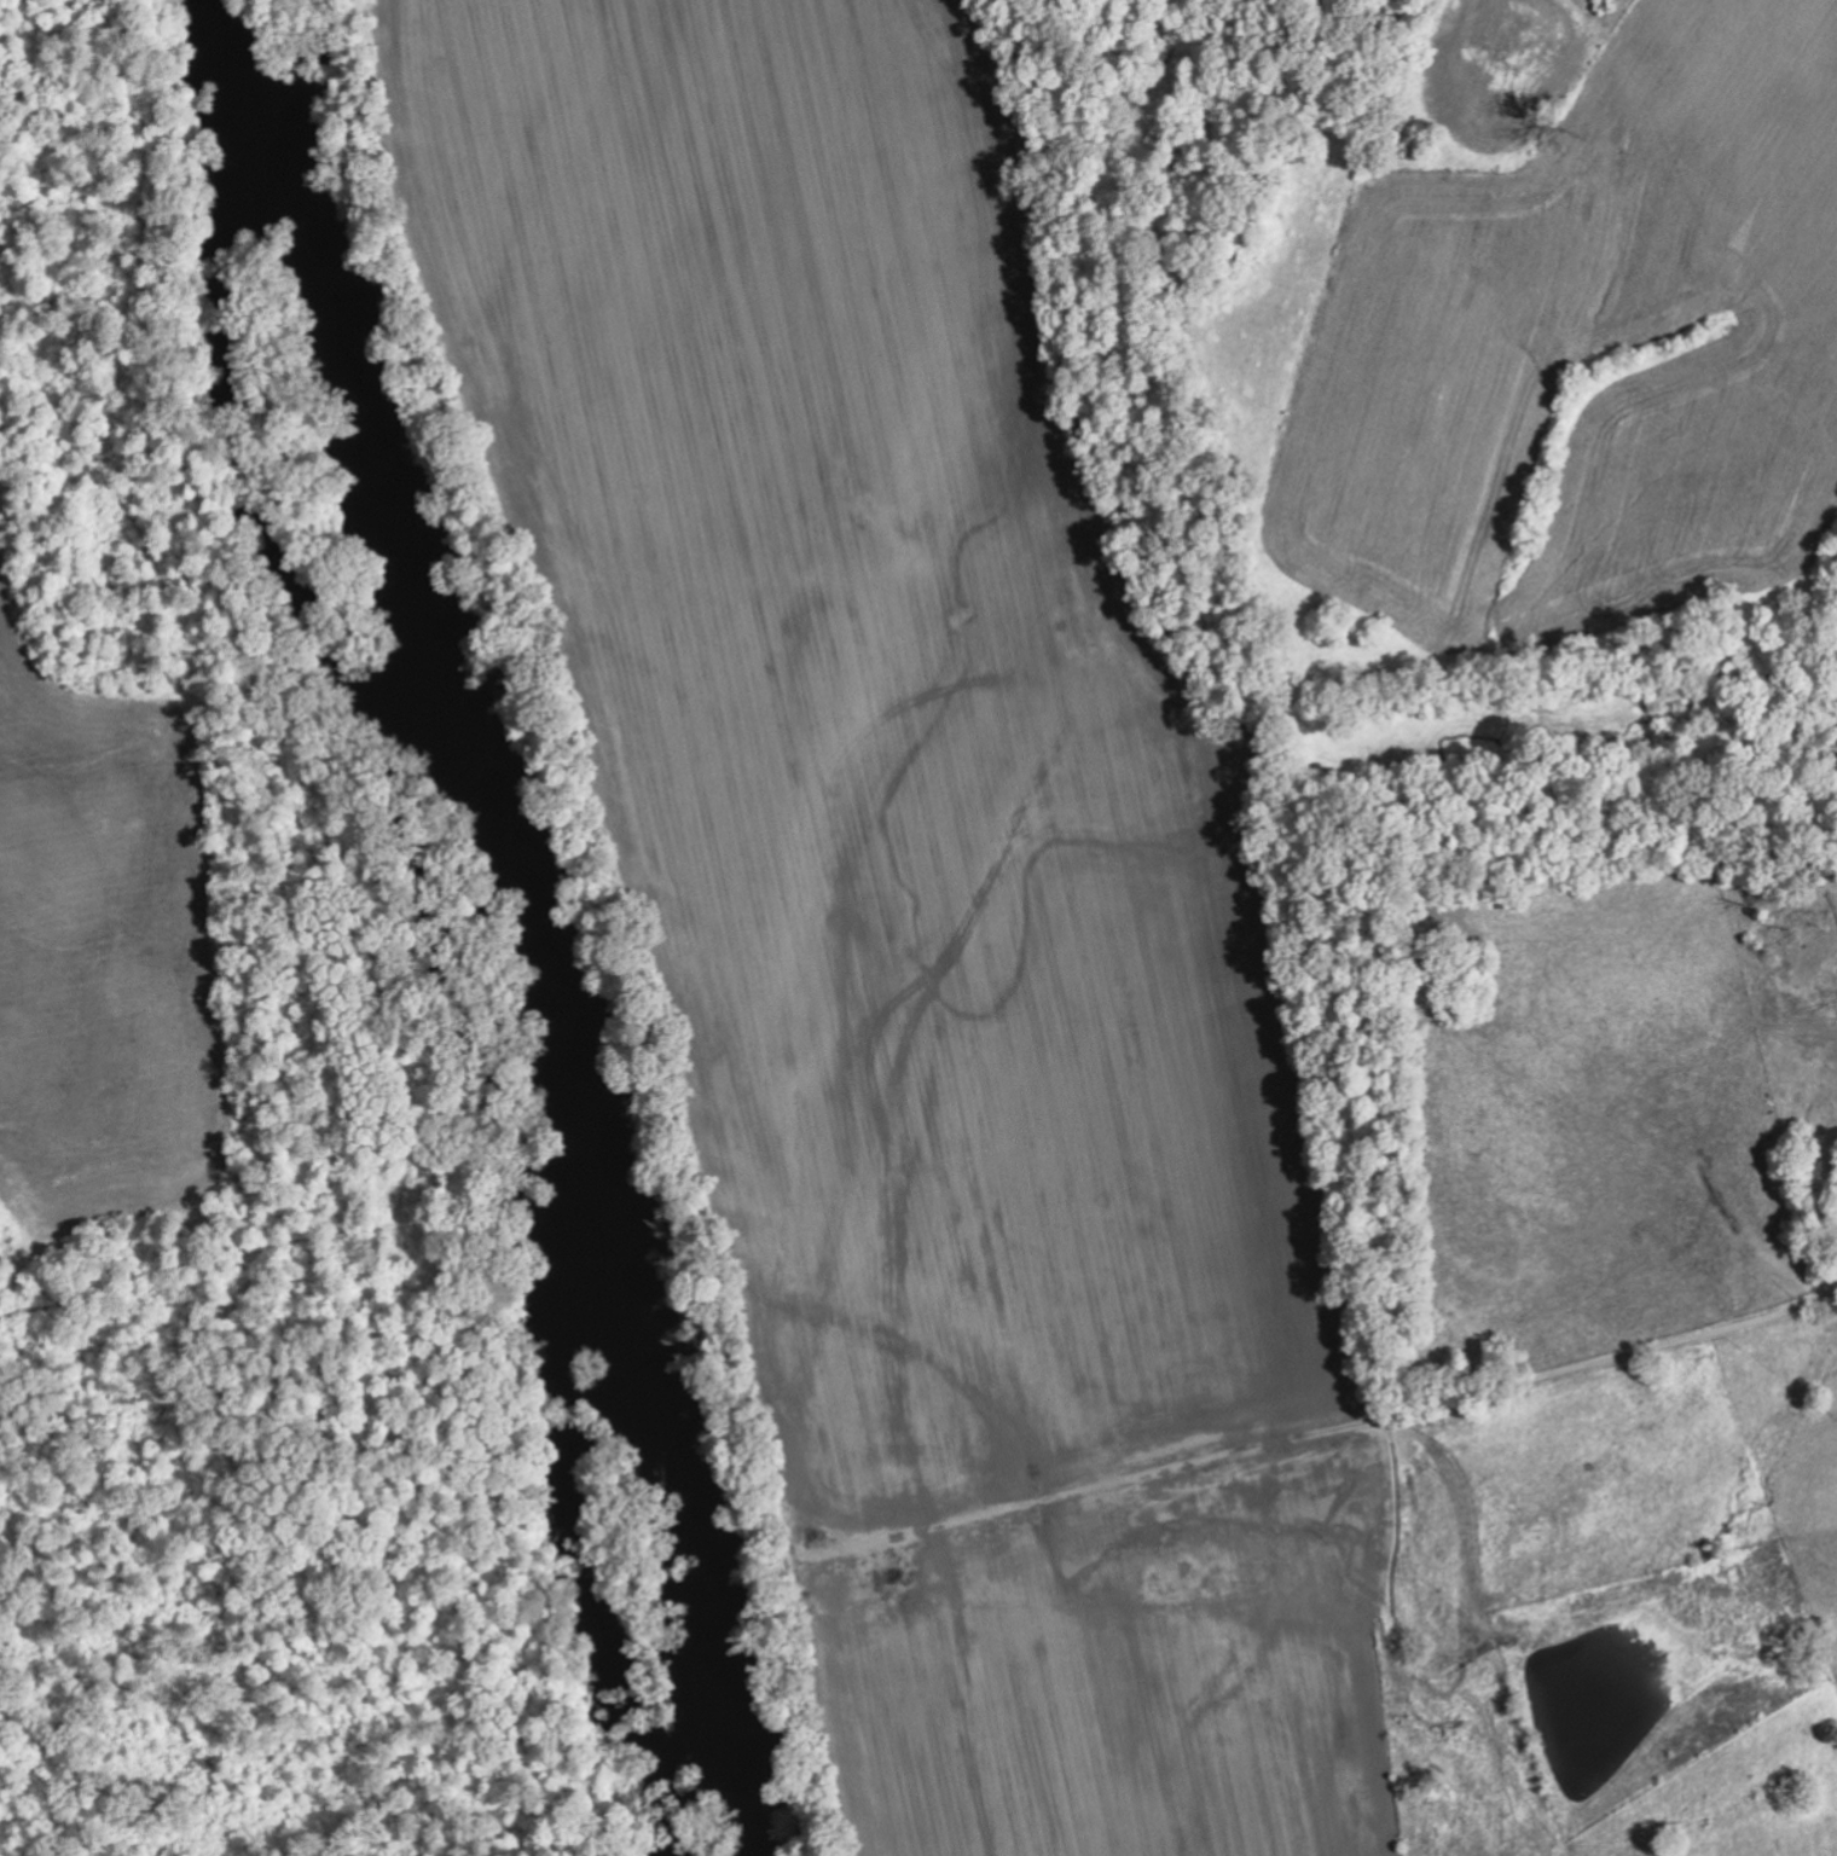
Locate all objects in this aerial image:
river: (494, 924)

